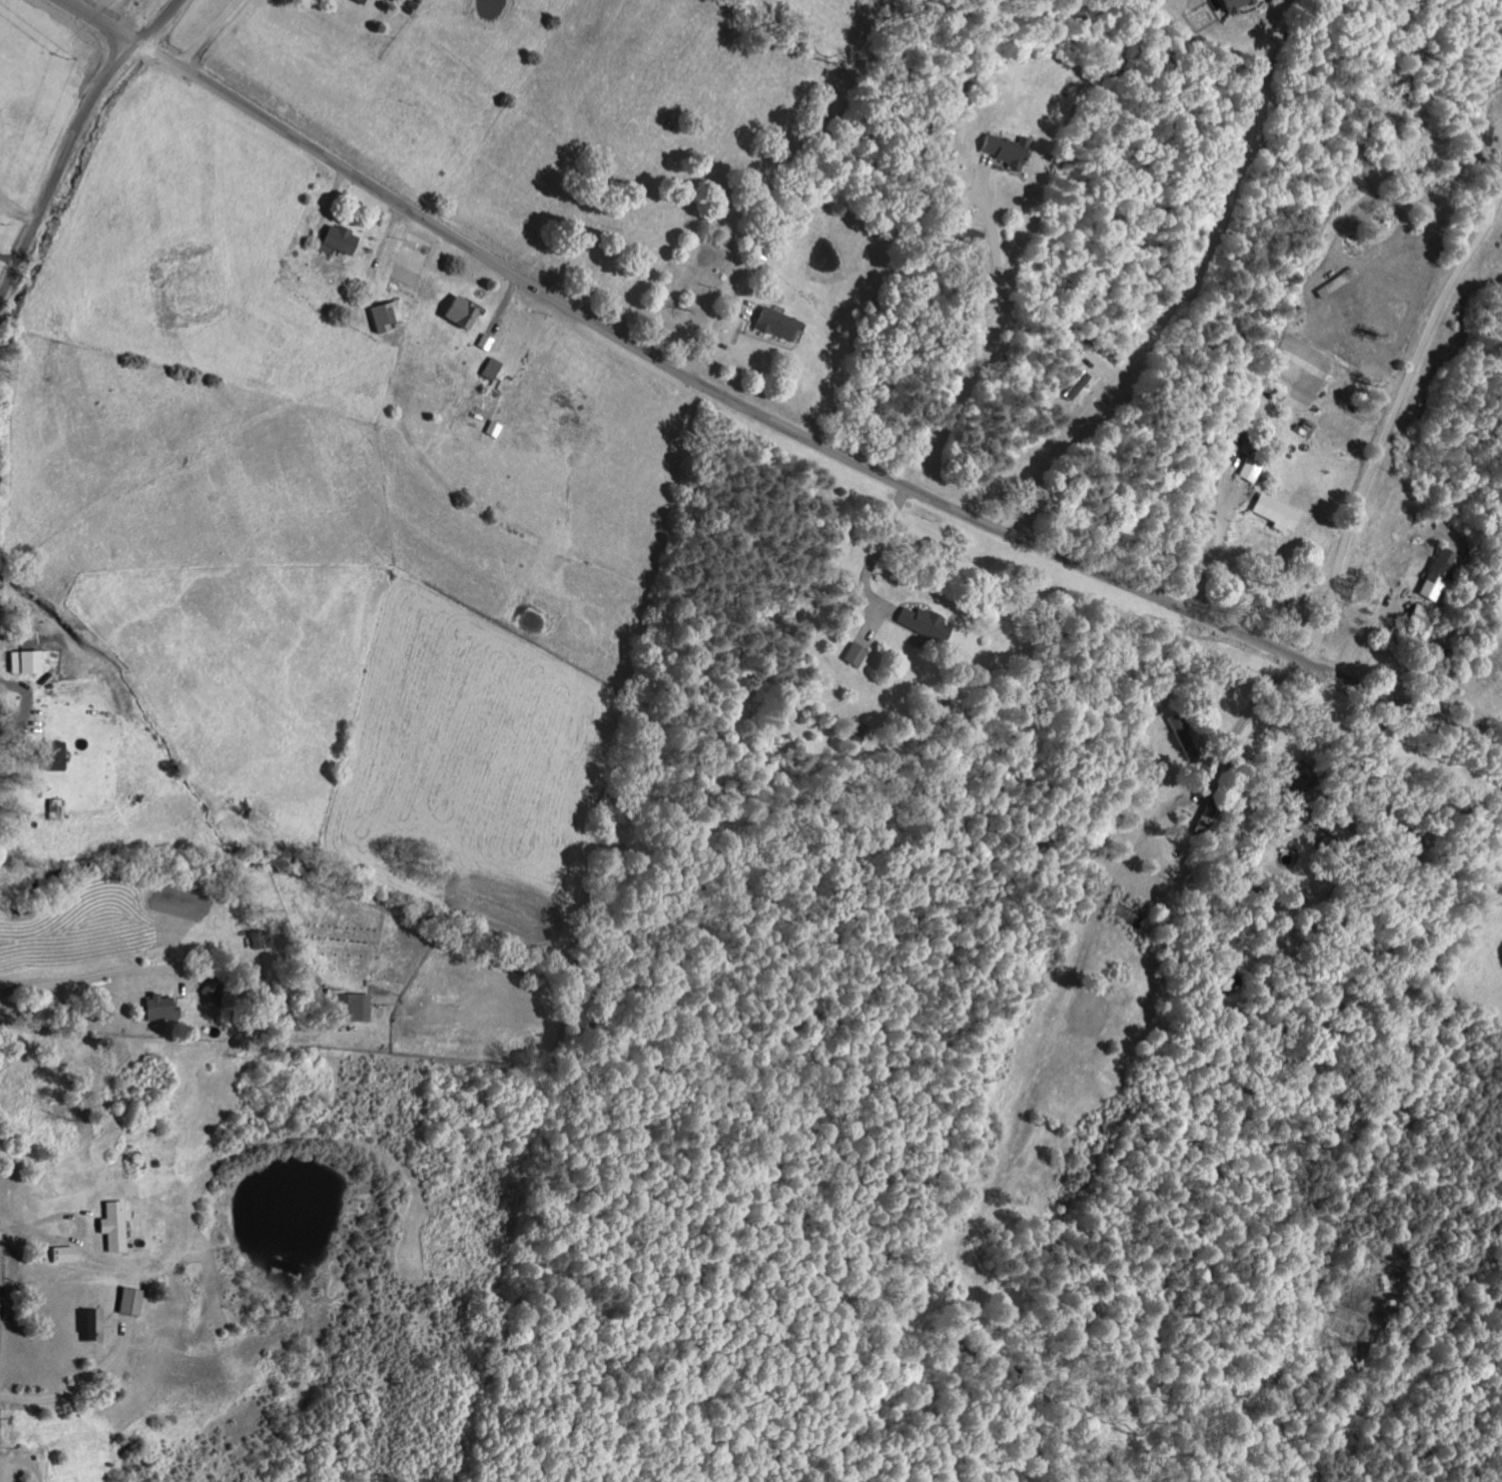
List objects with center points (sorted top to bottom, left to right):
building: (357, 2)
building: (1234, 3)
road: (102, 21)
road: (160, 22)
road: (213, 35)
building: (1003, 149)
road: (61, 165)
road: (17, 213)
building: (969, 236)
building: (337, 239)
road: (8, 260)
road: (1184, 290)
building: (458, 313)
building: (383, 316)
building: (773, 324)
road: (984, 340)
building: (486, 343)
building: (491, 369)
building: (1075, 387)
road: (1389, 420)
building: (492, 430)
road: (799, 438)
building: (1249, 466)
building: (1273, 512)
road: (877, 549)
road: (1216, 557)
building: (1437, 574)
building: (1501, 614)
building: (922, 624)
building: (852, 655)
building: (24, 663)
road: (1246, 722)
building: (52, 757)
building: (54, 810)
road: (99, 977)
building: (346, 1006)
building: (157, 1008)
building: (110, 1225)
building: (60, 1254)
building: (126, 1301)
building: (84, 1324)
road: (81, 1387)
road: (24, 1463)

